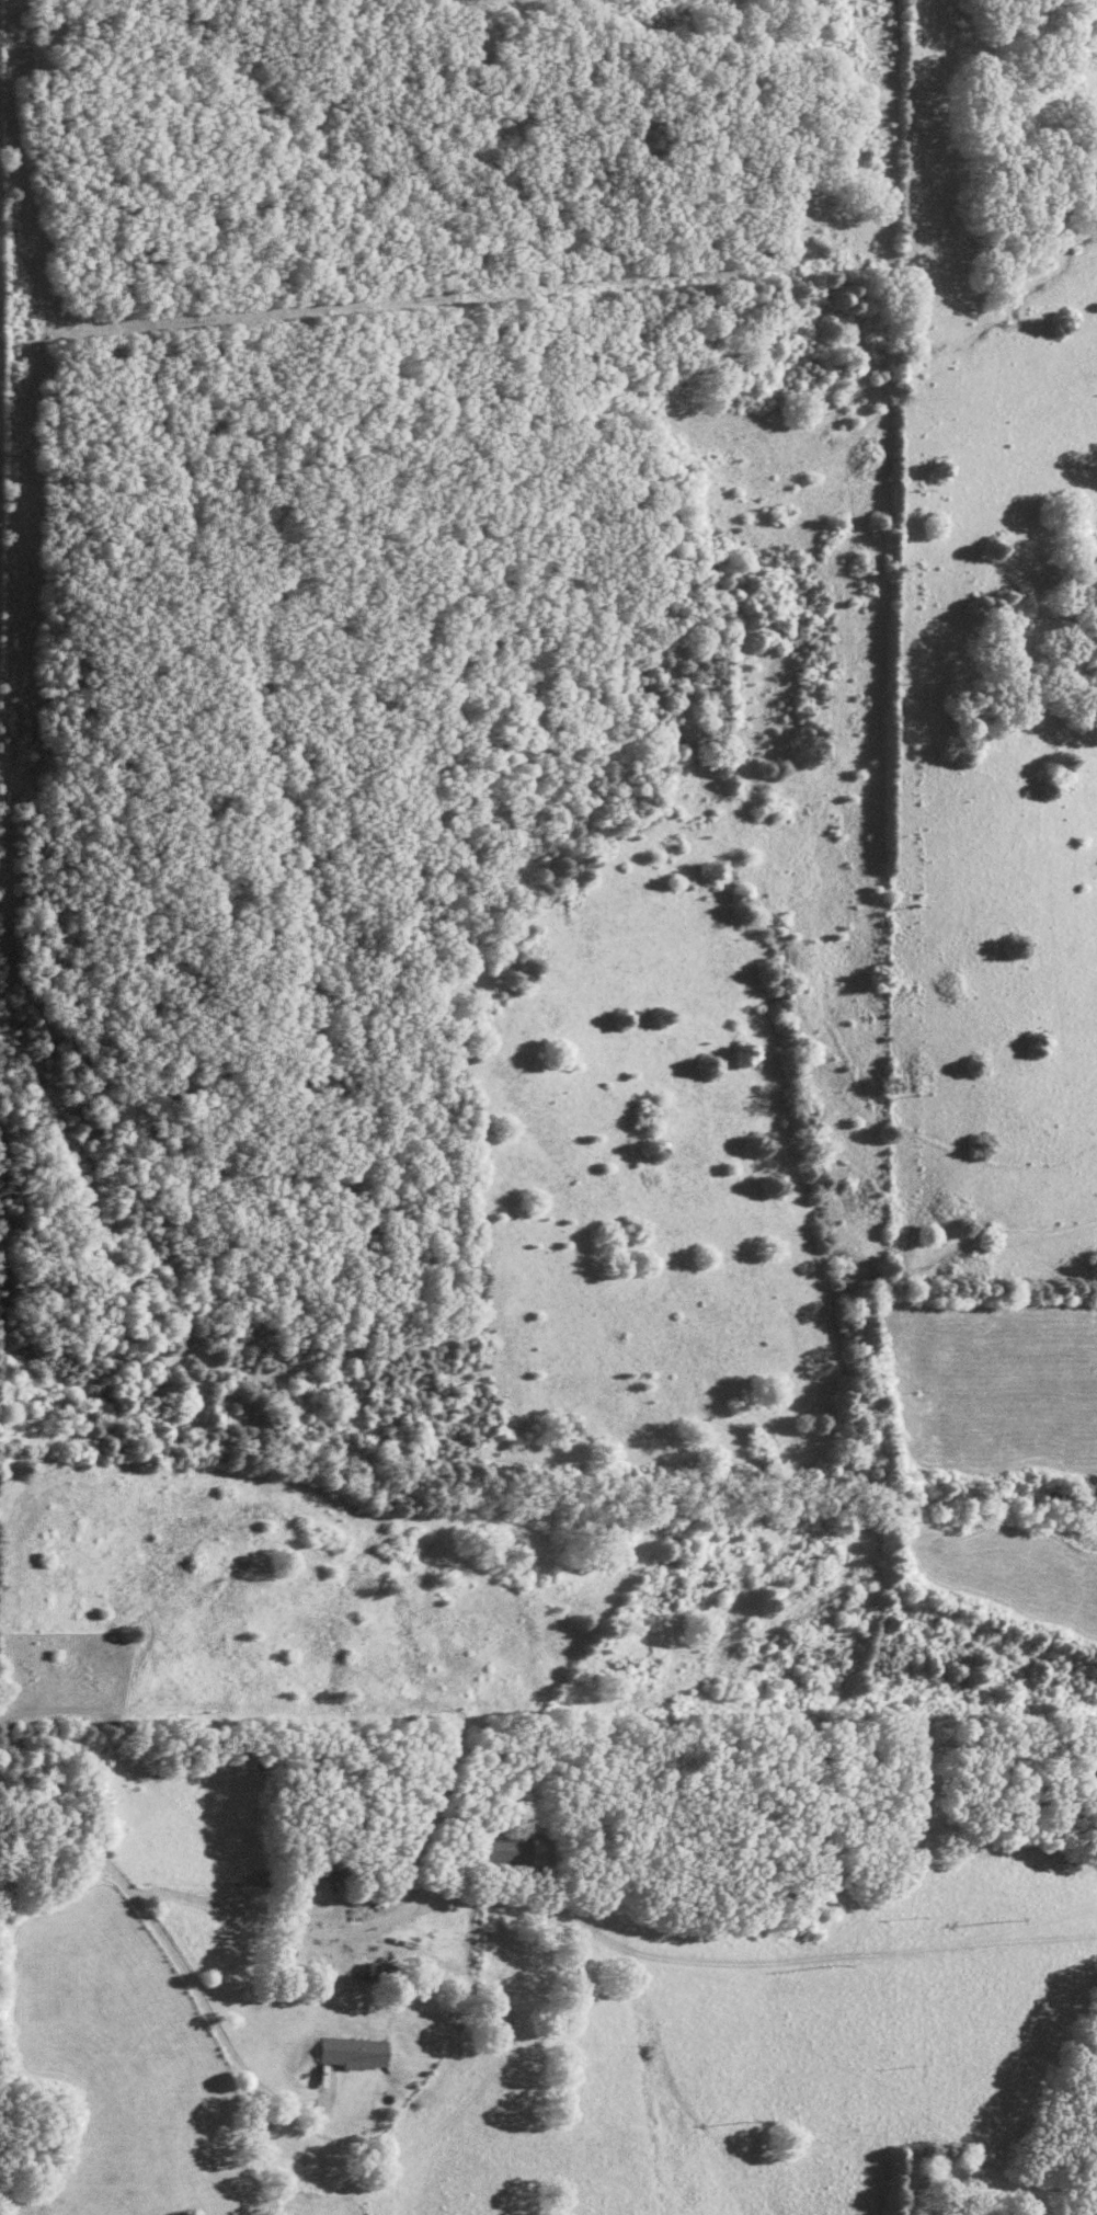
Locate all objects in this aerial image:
building: (339, 1868)
road: (232, 1910)
road: (222, 2041)
building: (355, 2053)

